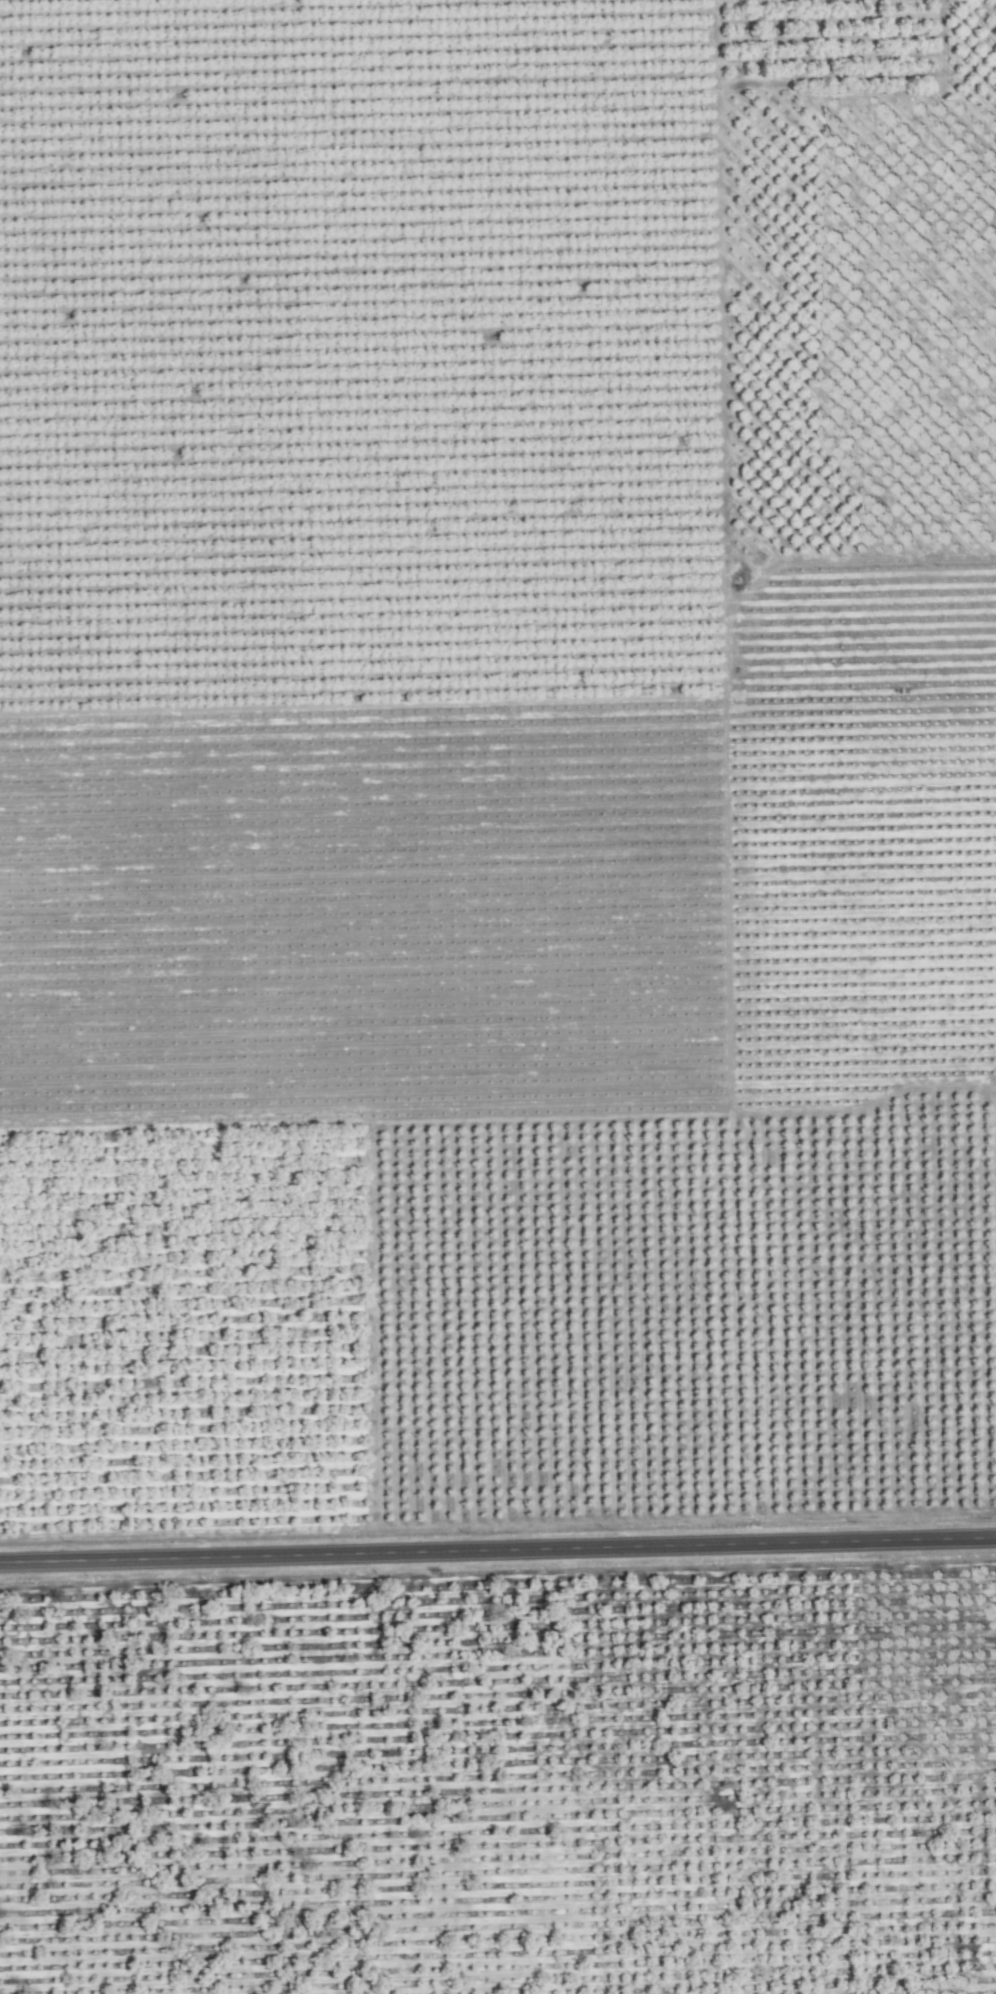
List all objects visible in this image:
road: (498, 1552)

